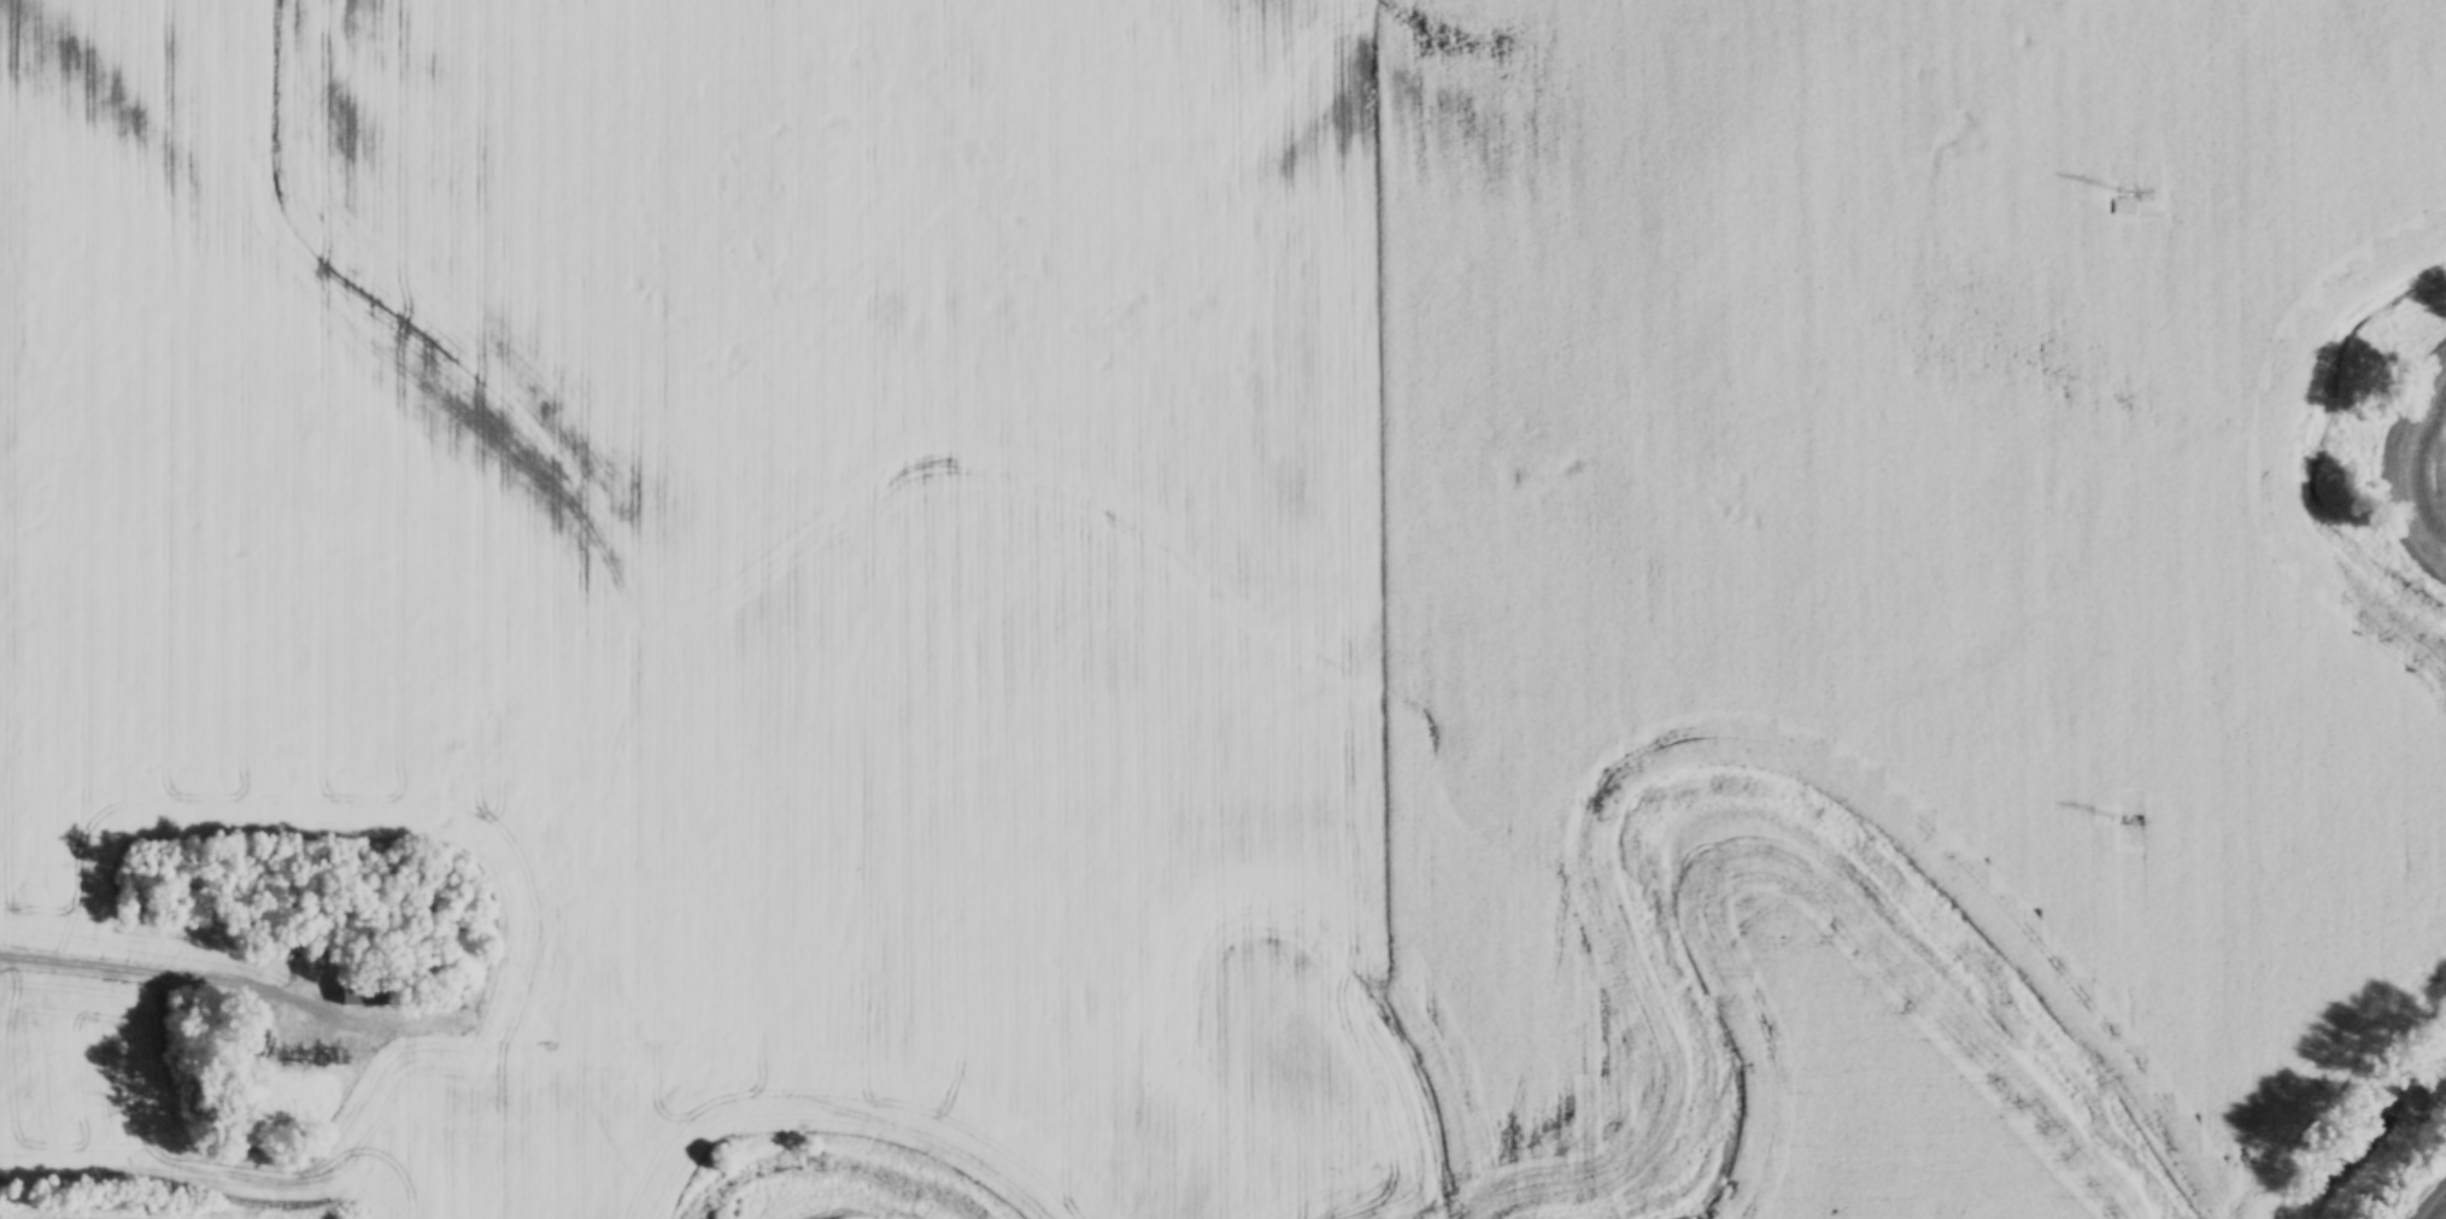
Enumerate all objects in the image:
power tower: (2127, 187)
power tower: (2131, 817)
building: (374, 990)
river: (2372, 1133)
river: (718, 1195)

